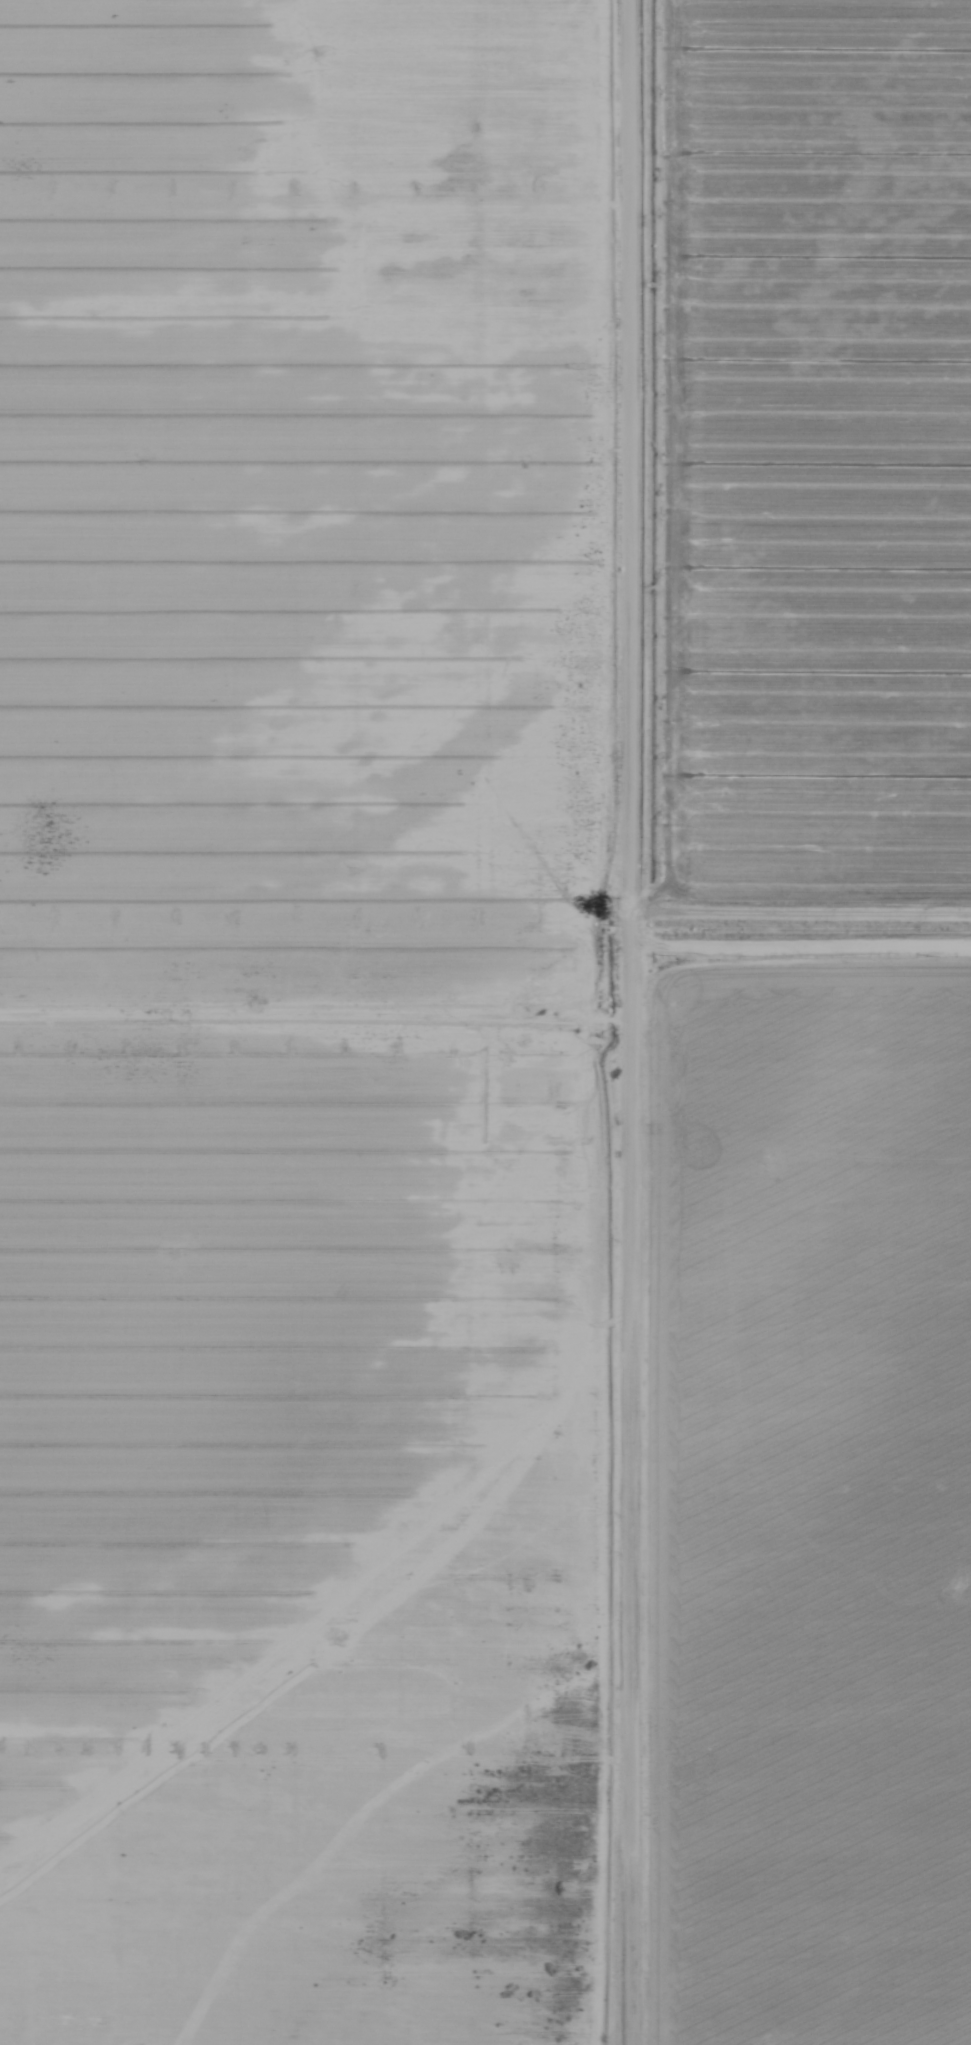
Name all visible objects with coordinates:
road: (630, 1022)

